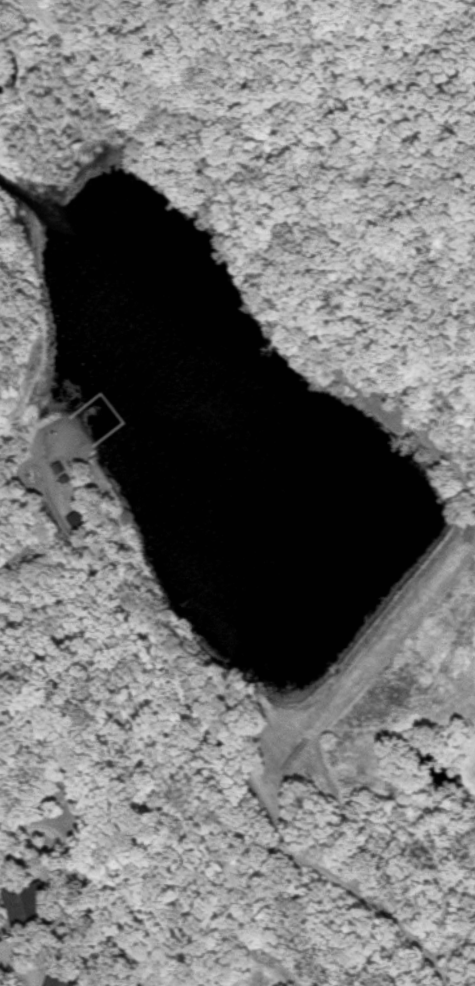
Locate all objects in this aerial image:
road: (208, 742)
building: (29, 907)
building: (57, 983)

